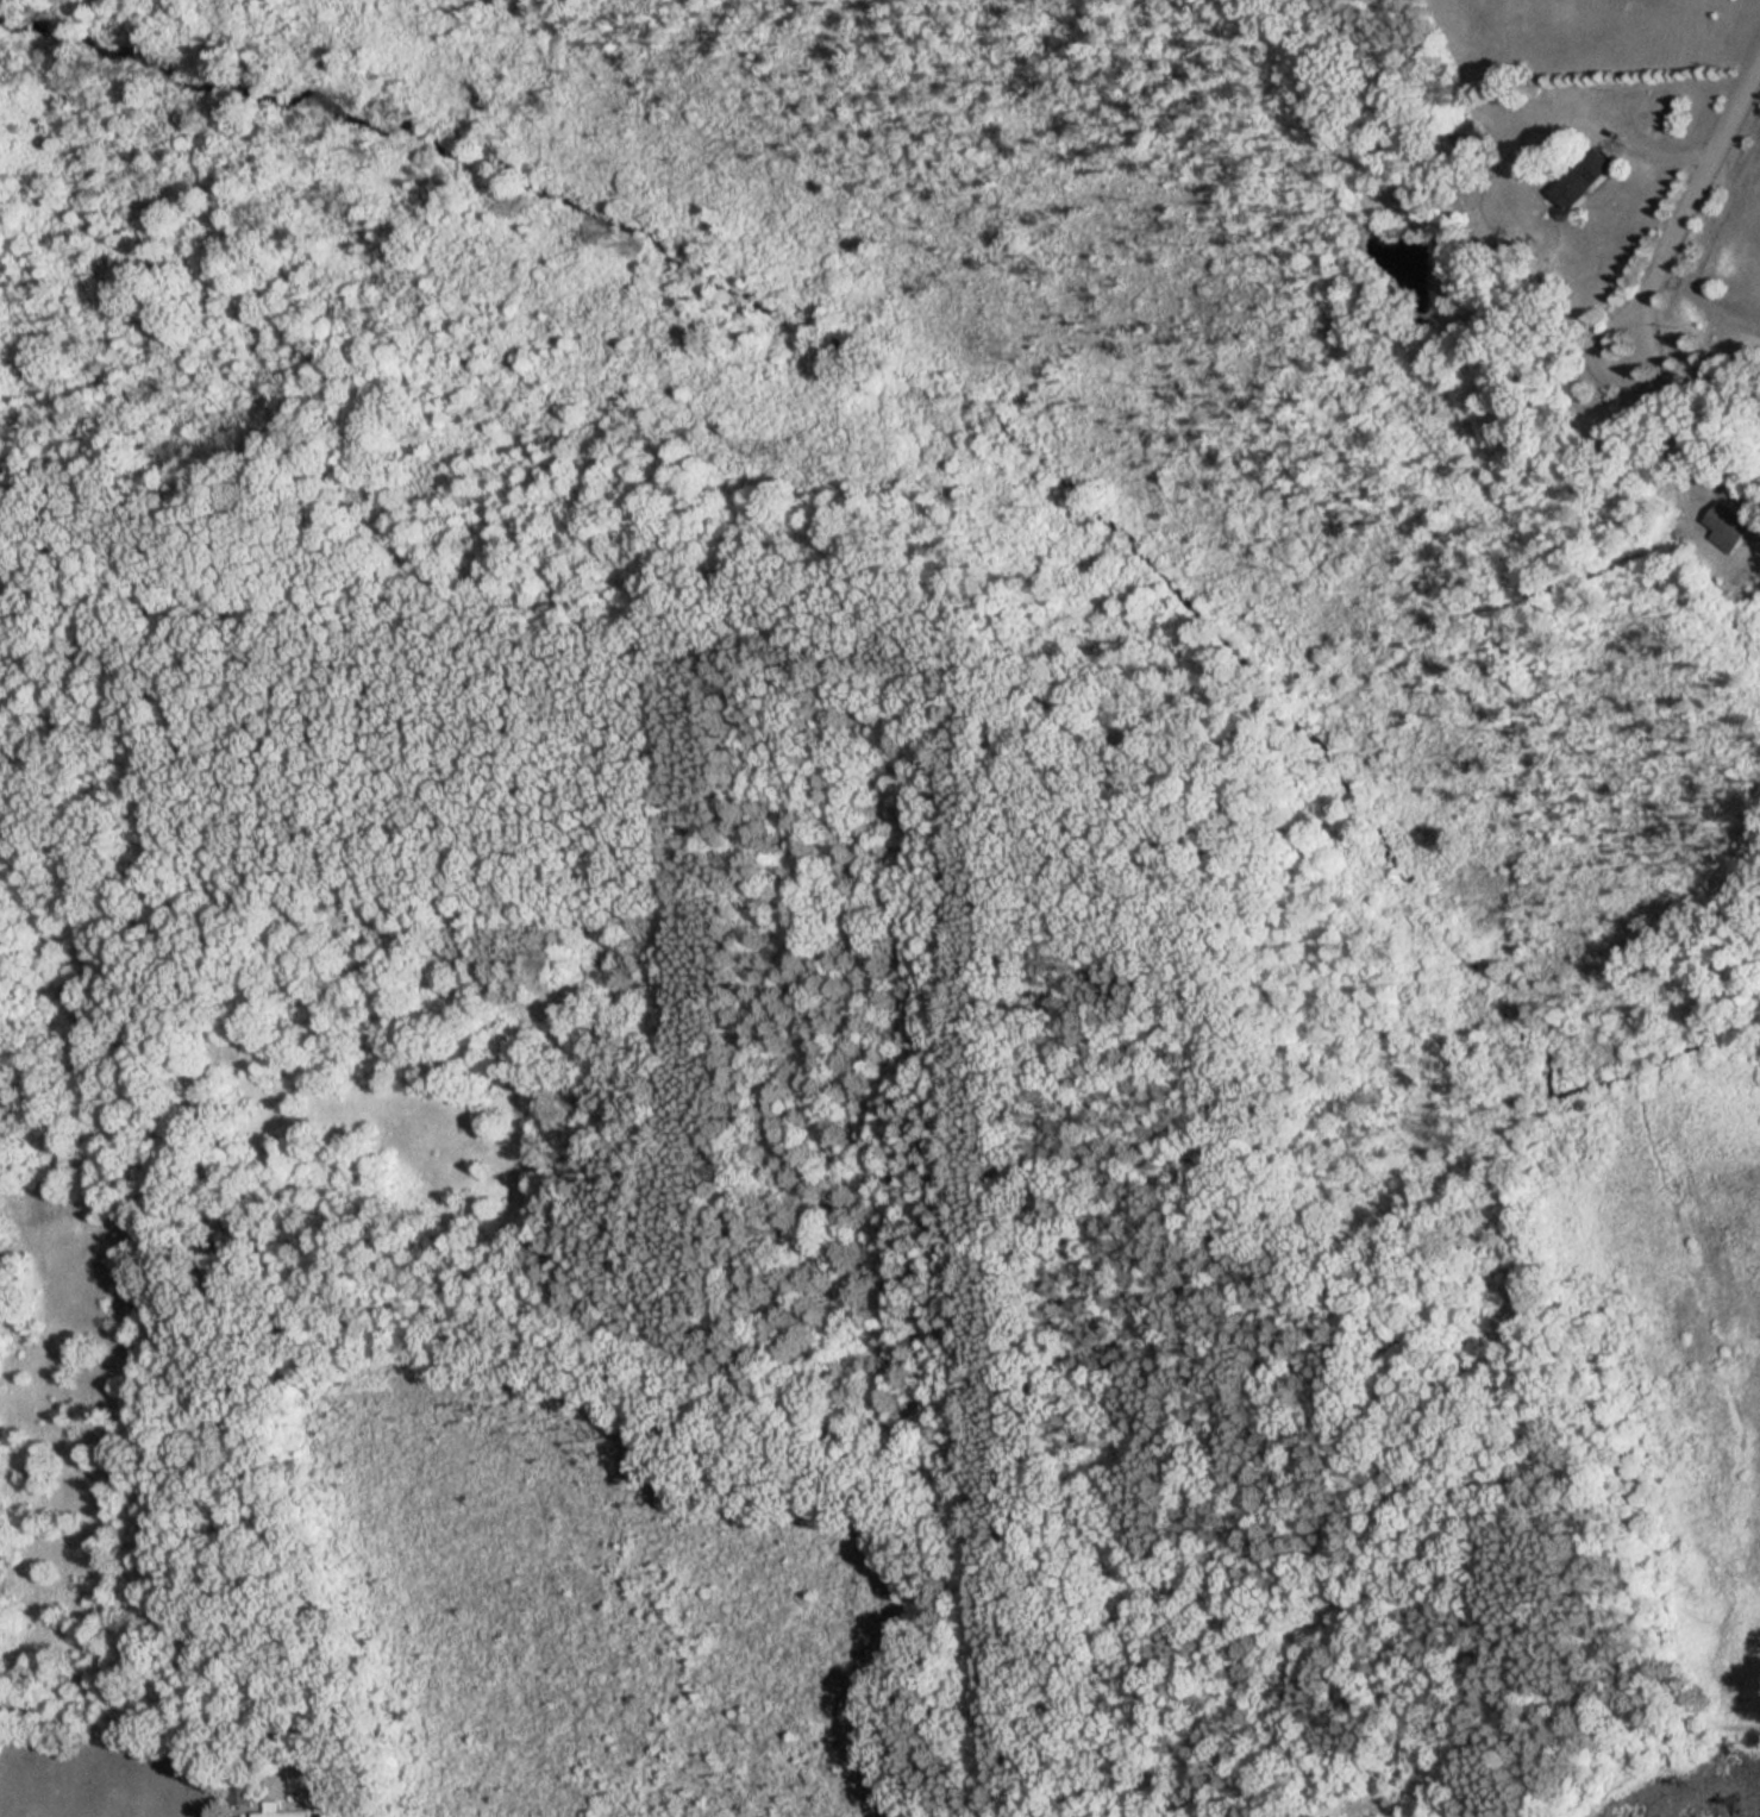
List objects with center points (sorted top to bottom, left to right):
building: (1580, 177)
road: (1689, 193)
road: (1687, 420)
building: (1725, 526)
park: (760, 1025)
building: (248, 1794)
building: (286, 1811)

